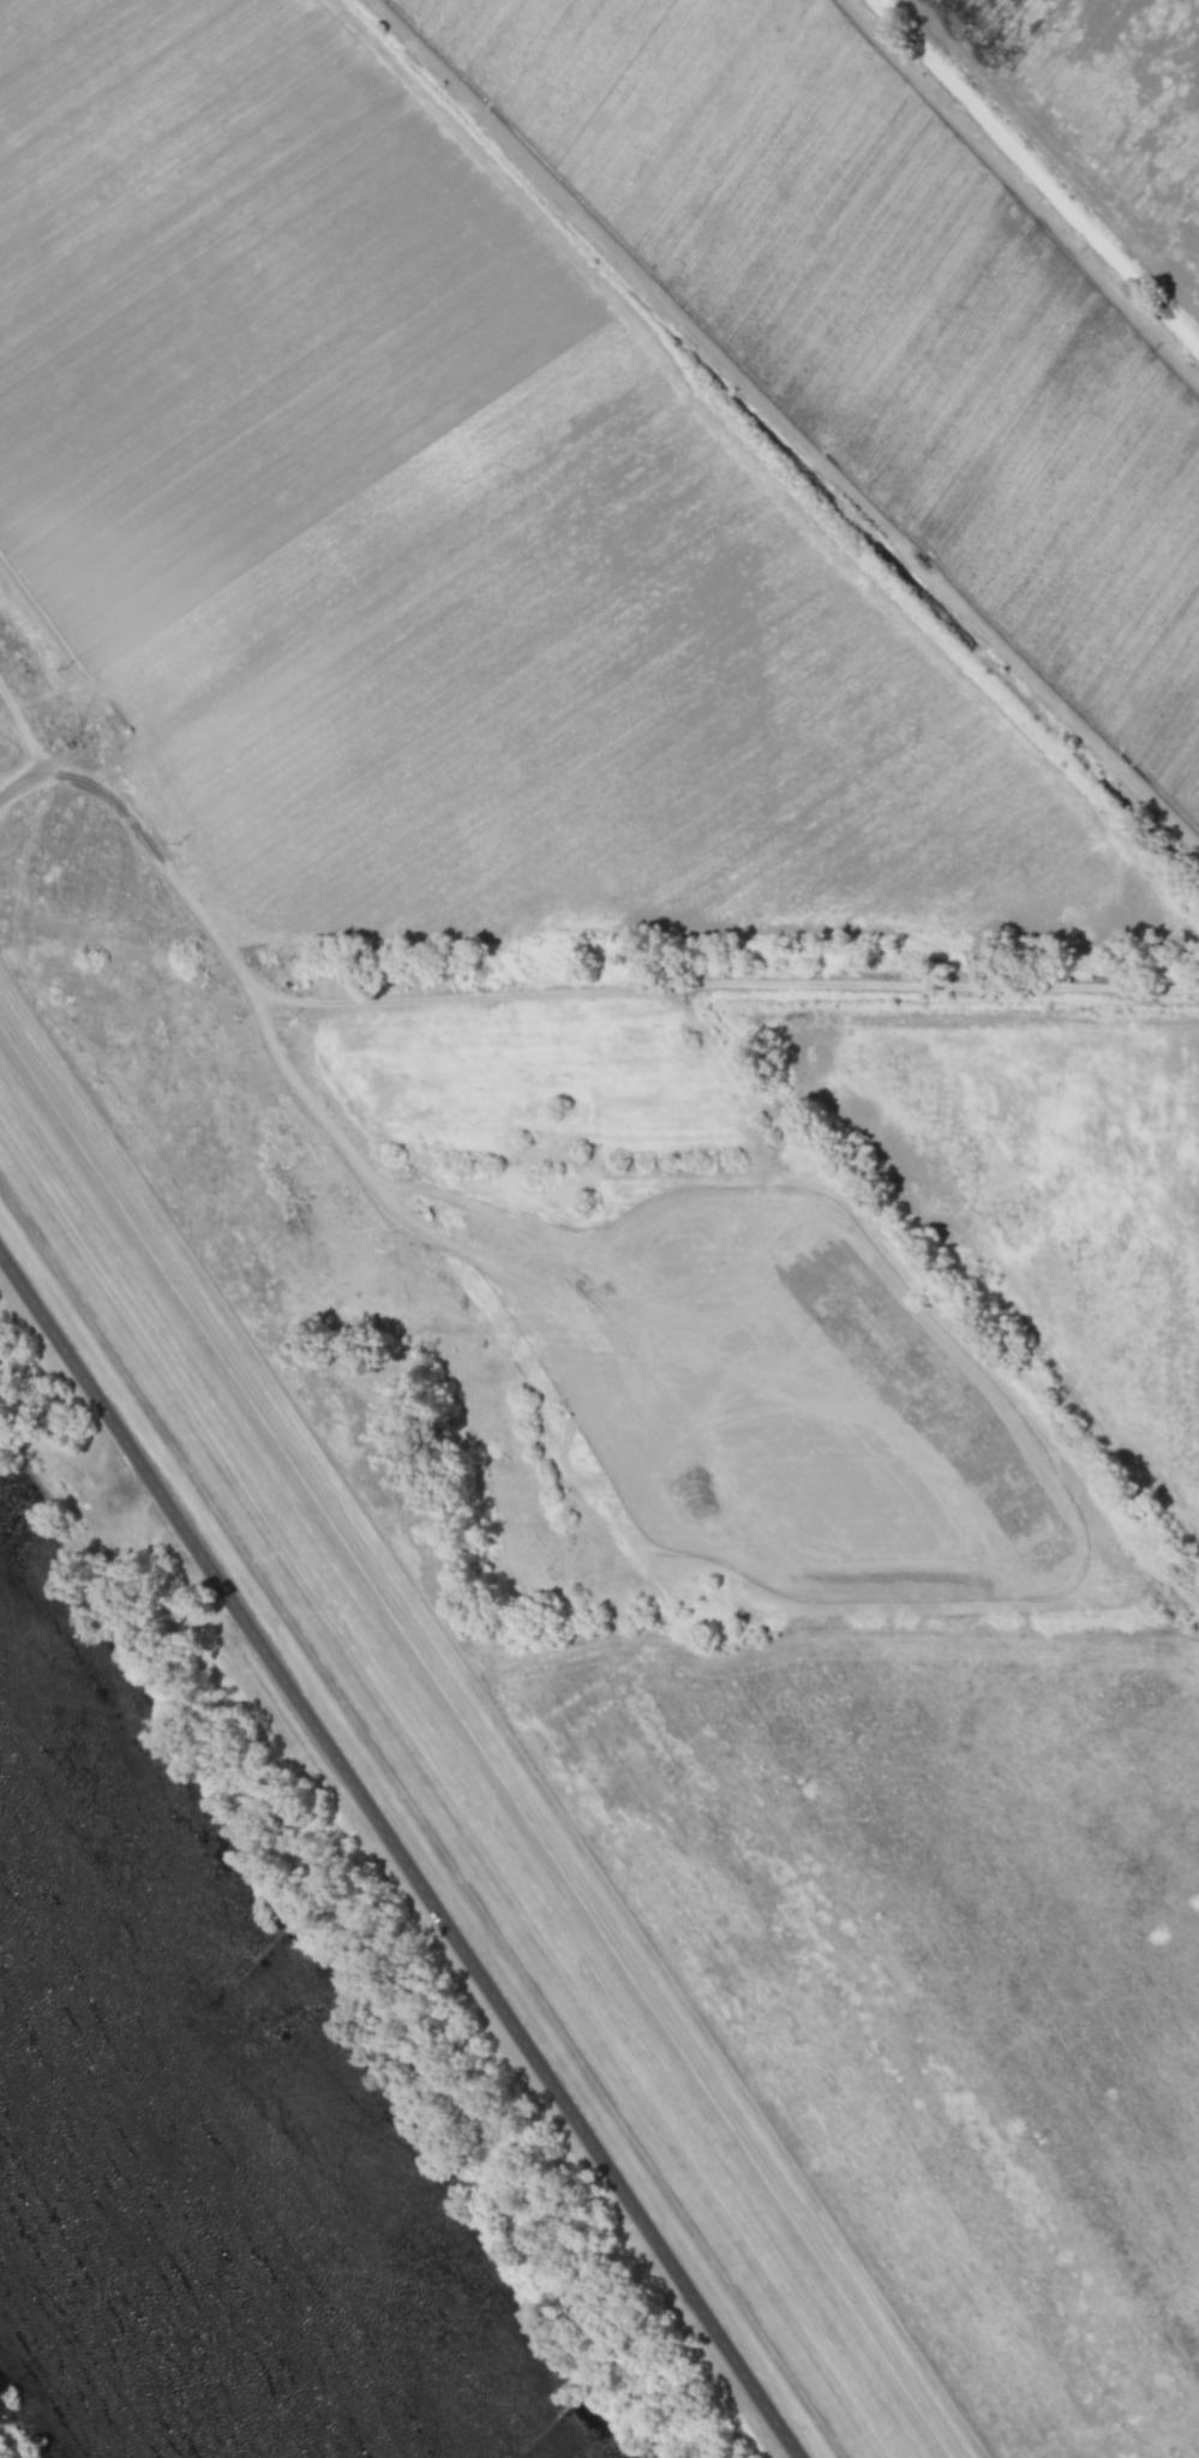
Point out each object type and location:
crop: (1102, 109)
road: (359, 998)
road: (400, 1853)
river: (185, 2152)

